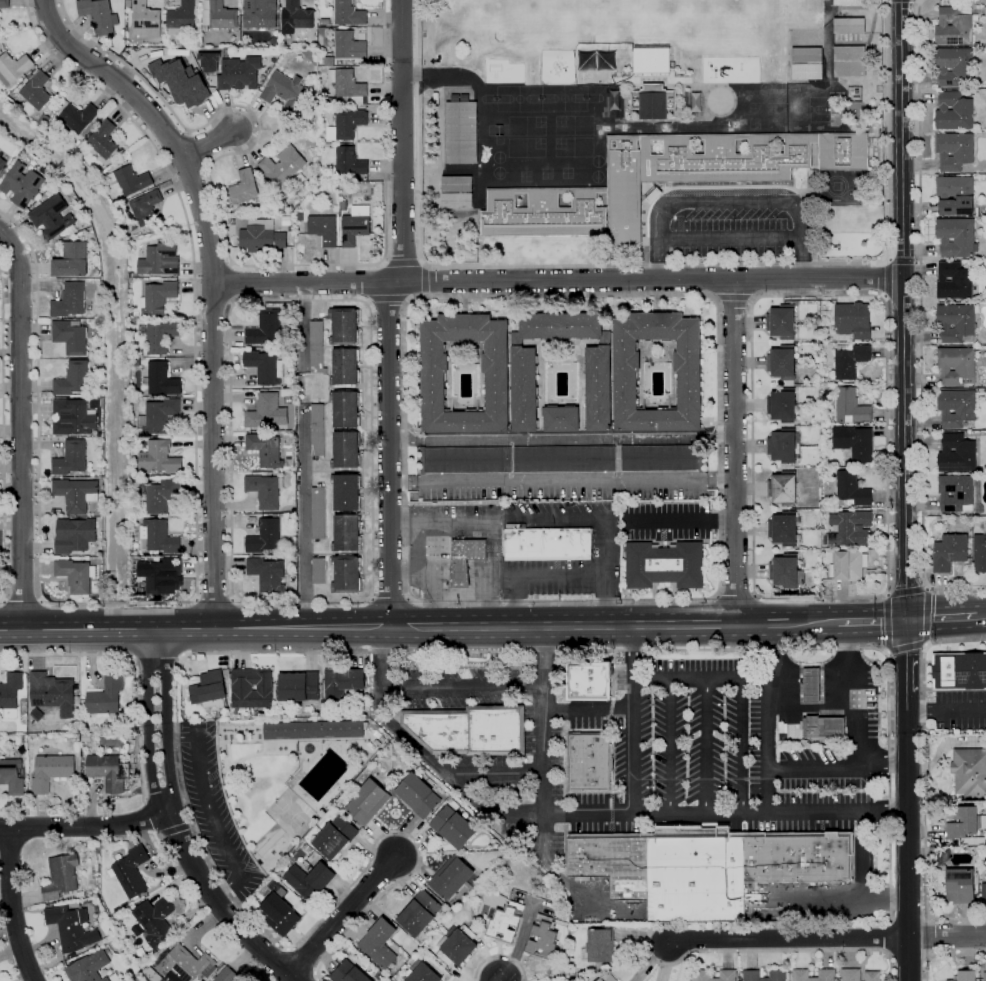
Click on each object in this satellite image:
road: (921, 0)
building: (848, 2)
building: (128, 3)
building: (4, 4)
road: (43, 5)
building: (348, 13)
building: (259, 14)
building: (217, 15)
building: (99, 16)
building: (296, 17)
building: (181, 19)
building: (145, 20)
building: (848, 25)
building: (954, 26)
building: (107, 39)
building: (349, 46)
building: (309, 54)
building: (209, 61)
building: (329, 61)
building: (650, 61)
building: (849, 62)
building: (954, 66)
building: (13, 68)
building: (239, 73)
building: (181, 81)
building: (347, 85)
building: (37, 91)
building: (286, 91)
building: (856, 91)
building: (455, 97)
building: (464, 97)
building: (855, 98)
building: (614, 100)
building: (652, 101)
building: (348, 103)
building: (696, 103)
building: (361, 106)
building: (954, 111)
building: (78, 117)
building: (461, 117)
building: (346, 125)
road: (190, 130)
building: (103, 139)
road: (208, 142)
building: (310, 142)
building: (461, 148)
building: (843, 151)
building: (954, 151)
building: (724, 158)
building: (122, 159)
building: (347, 161)
building: (2, 163)
building: (115, 164)
building: (283, 166)
building: (608, 168)
road: (190, 173)
building: (298, 180)
building: (129, 181)
building: (457, 184)
building: (21, 185)
building: (341, 185)
building: (244, 188)
building: (955, 195)
building: (625, 197)
road: (731, 199)
building: (457, 201)
building: (38, 204)
building: (343, 206)
building: (146, 207)
building: (543, 212)
building: (52, 217)
building: (286, 221)
building: (355, 225)
parking lot: (730, 226)
building: (289, 228)
building: (323, 229)
building: (261, 237)
road: (733, 237)
building: (956, 237)
road: (225, 248)
building: (160, 260)
building: (71, 261)
road: (402, 262)
road: (903, 262)
road: (653, 266)
road: (212, 267)
road: (425, 279)
road: (703, 279)
road: (886, 279)
road: (558, 280)
road: (753, 281)
building: (954, 281)
road: (214, 283)
road: (232, 284)
road: (902, 296)
building: (158, 298)
road: (734, 298)
road: (386, 299)
building: (69, 301)
road: (213, 301)
road: (903, 310)
road: (389, 311)
building: (852, 318)
building: (313, 320)
building: (319, 320)
building: (783, 322)
road: (920, 322)
building: (956, 323)
building: (344, 326)
building: (265, 328)
building: (73, 336)
building: (161, 336)
building: (316, 348)
building: (289, 352)
building: (850, 360)
building: (781, 363)
building: (956, 366)
building: (264, 367)
building: (345, 367)
building: (597, 371)
building: (433, 375)
building: (688, 376)
building: (73, 379)
building: (162, 380)
building: (782, 405)
building: (850, 407)
building: (956, 407)
building: (345, 409)
building: (265, 413)
building: (158, 416)
building: (73, 418)
building: (561, 419)
building: (272, 428)
road: (20, 429)
building: (317, 430)
road: (3, 435)
road: (561, 438)
building: (854, 442)
building: (784, 445)
building: (265, 450)
building: (346, 450)
road: (734, 451)
building: (956, 454)
building: (662, 458)
building: (71, 459)
building: (159, 459)
building: (564, 459)
road: (617, 459)
building: (466, 460)
building: (273, 473)
road: (562, 481)
parking lot: (561, 487)
building: (782, 488)
building: (852, 489)
building: (264, 490)
building: (346, 492)
building: (958, 492)
building: (76, 494)
building: (162, 495)
building: (318, 512)
building: (274, 515)
road: (683, 520)
parking lot: (667, 521)
road: (463, 522)
road: (606, 524)
building: (784, 528)
building: (852, 528)
building: (346, 533)
building: (74, 535)
building: (626, 536)
building: (159, 537)
building: (266, 537)
building: (548, 544)
parking lot: (605, 544)
road: (196, 546)
gas station: (453, 550)
building: (968, 551)
road: (432, 552)
building: (949, 552)
building: (980, 553)
building: (464, 560)
building: (664, 565)
building: (848, 566)
building: (318, 571)
building: (785, 571)
building: (824, 573)
building: (76, 575)
building: (267, 575)
building: (346, 575)
building: (161, 576)
building: (292, 578)
road: (537, 578)
building: (292, 587)
road: (906, 587)
road: (885, 592)
road: (736, 594)
road: (716, 595)
road: (213, 598)
road: (391, 598)
road: (366, 599)
road: (22, 600)
road: (980, 616)
road: (940, 619)
road: (872, 621)
traffic signals: (905, 621)
road: (615, 625)
road: (194, 629)
road: (905, 656)
building: (959, 671)
building: (588, 679)
road: (699, 679)
building: (342, 682)
building: (813, 685)
building: (299, 686)
parking lot: (459, 686)
building: (208, 688)
building: (252, 688)
road: (464, 688)
building: (11, 690)
road: (854, 694)
building: (54, 696)
building: (106, 696)
gas station: (832, 696)
road: (588, 709)
road: (946, 711)
parking lot: (960, 711)
road: (766, 718)
road: (545, 719)
road: (631, 719)
road: (166, 720)
road: (148, 722)
building: (823, 727)
building: (313, 729)
building: (469, 730)
road: (741, 745)
road: (707, 746)
road: (669, 747)
parking lot: (713, 756)
building: (590, 761)
road: (836, 769)
building: (109, 771)
building: (51, 772)
building: (969, 772)
road: (495, 773)
building: (12, 776)
road: (922, 782)
building: (418, 795)
parking lot: (530, 796)
building: (367, 802)
parking lot: (214, 809)
road: (210, 811)
road: (580, 814)
building: (964, 822)
road: (84, 827)
building: (453, 827)
road: (906, 836)
building: (335, 837)
road: (544, 840)
building: (706, 866)
building: (131, 871)
building: (61, 877)
building: (450, 878)
road: (862, 878)
building: (309, 881)
building: (959, 885)
building: (983, 891)
road: (220, 905)
road: (10, 906)
building: (419, 913)
building: (280, 915)
road: (339, 917)
building: (155, 921)
building: (506, 921)
building: (71, 928)
building: (543, 936)
road: (947, 936)
road: (788, 937)
building: (379, 944)
building: (600, 944)
building: (459, 948)
building: (186, 965)
building: (89, 967)
building: (348, 973)
building: (826, 973)
building: (424, 974)
building: (727, 974)
building: (751, 974)
building: (851, 974)
building: (228, 975)
building: (872, 976)
building: (964, 976)
building: (984, 976)
building: (608, 977)
road: (500, 980)

